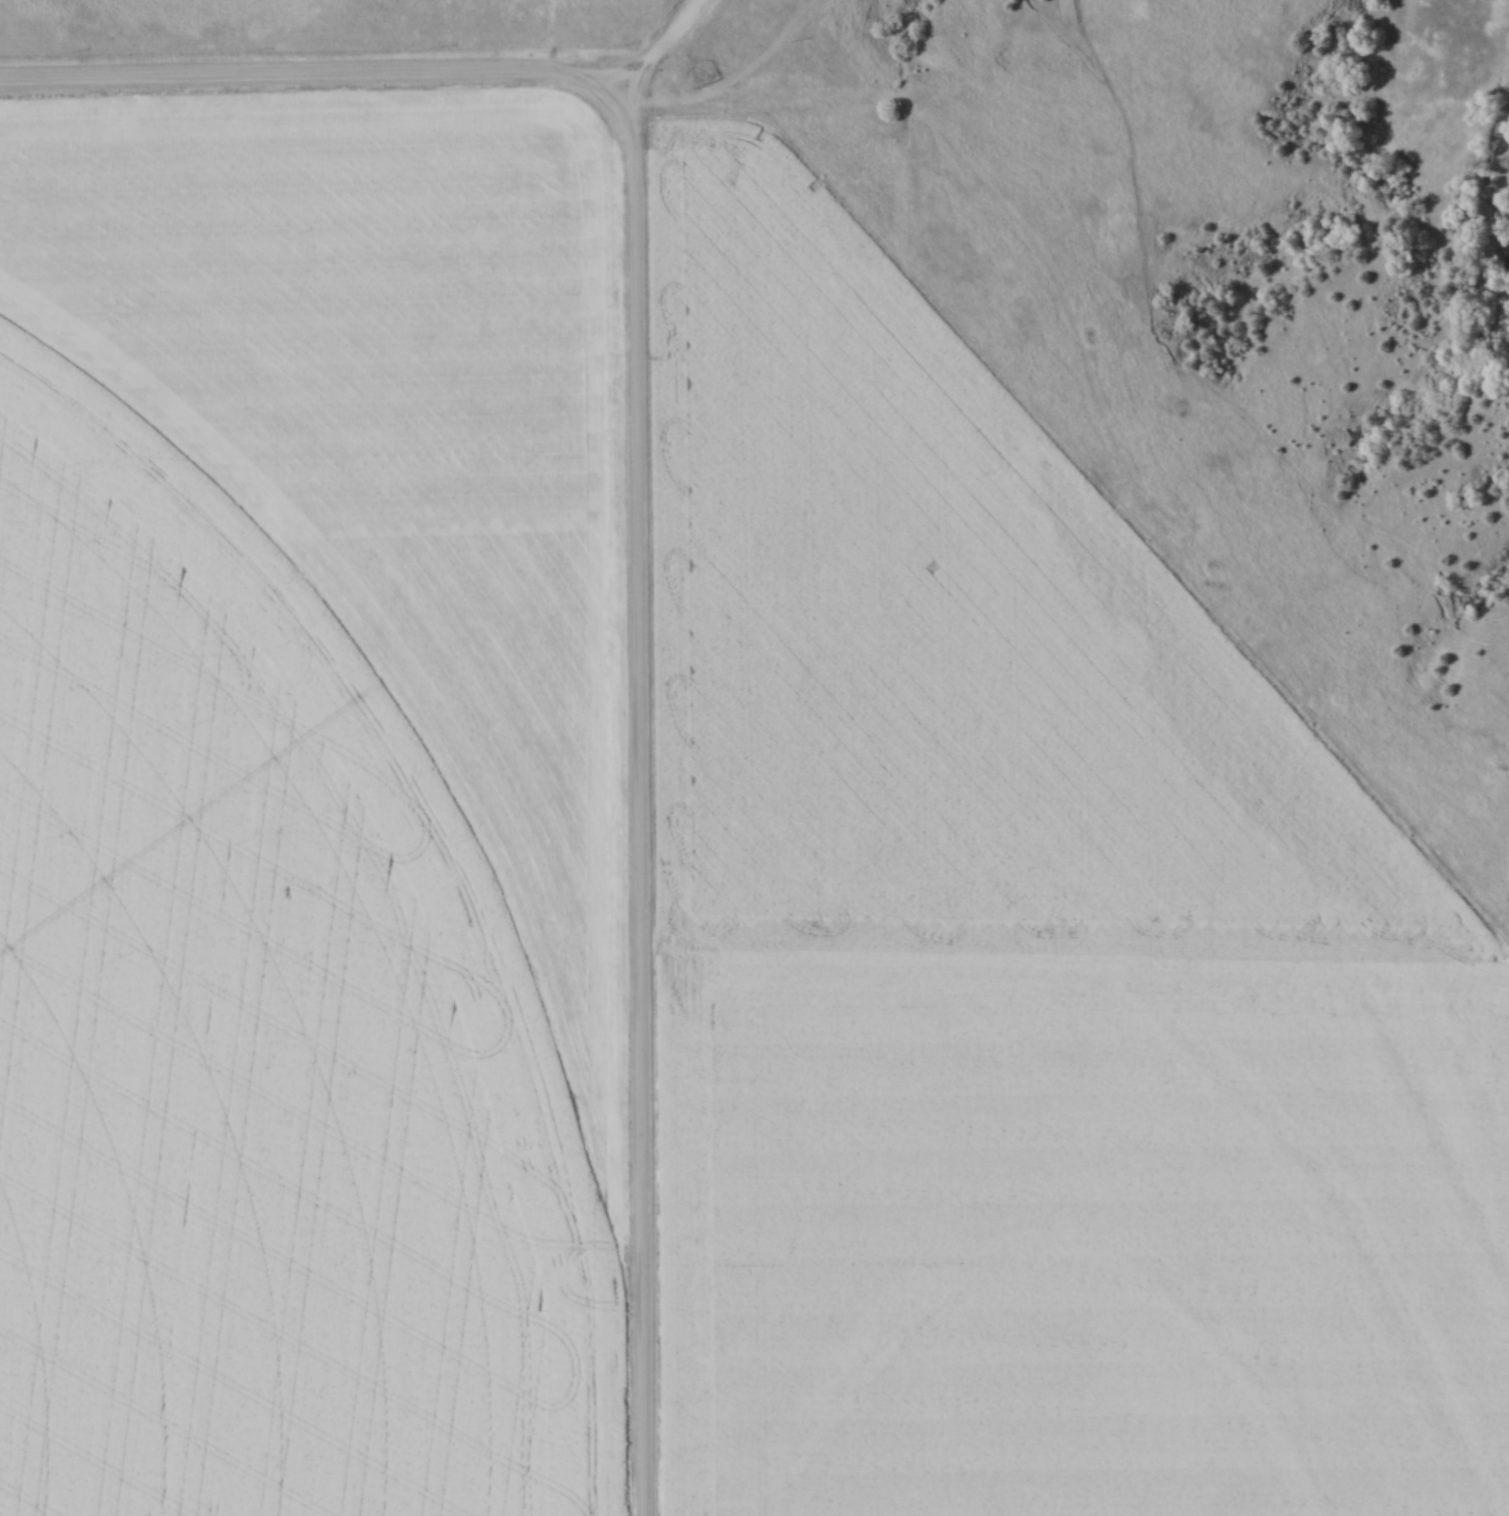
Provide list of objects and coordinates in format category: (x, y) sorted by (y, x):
road: (312, 75)
crop: (388, 429)
crop: (943, 638)
road: (639, 740)
crop: (256, 1046)
crop: (1081, 1234)

